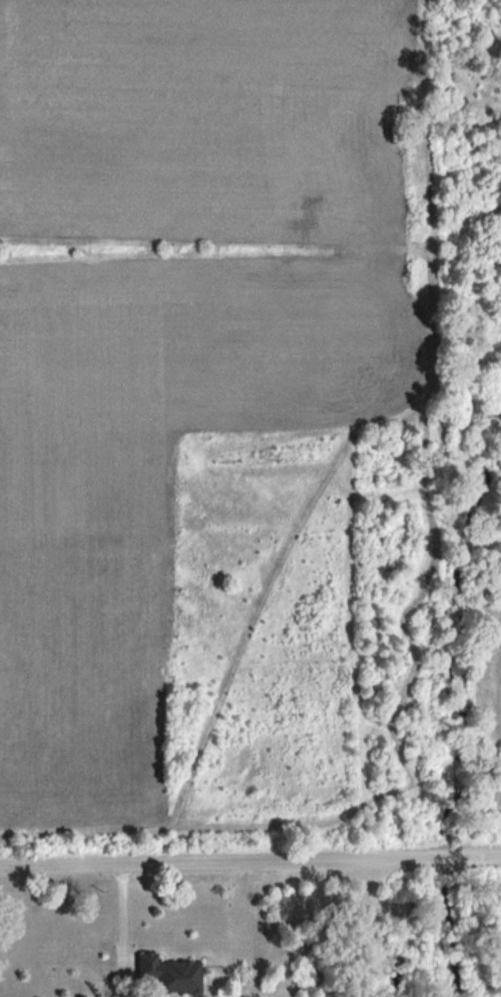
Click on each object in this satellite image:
crop: (176, 329)
road: (250, 864)
building: (166, 976)

